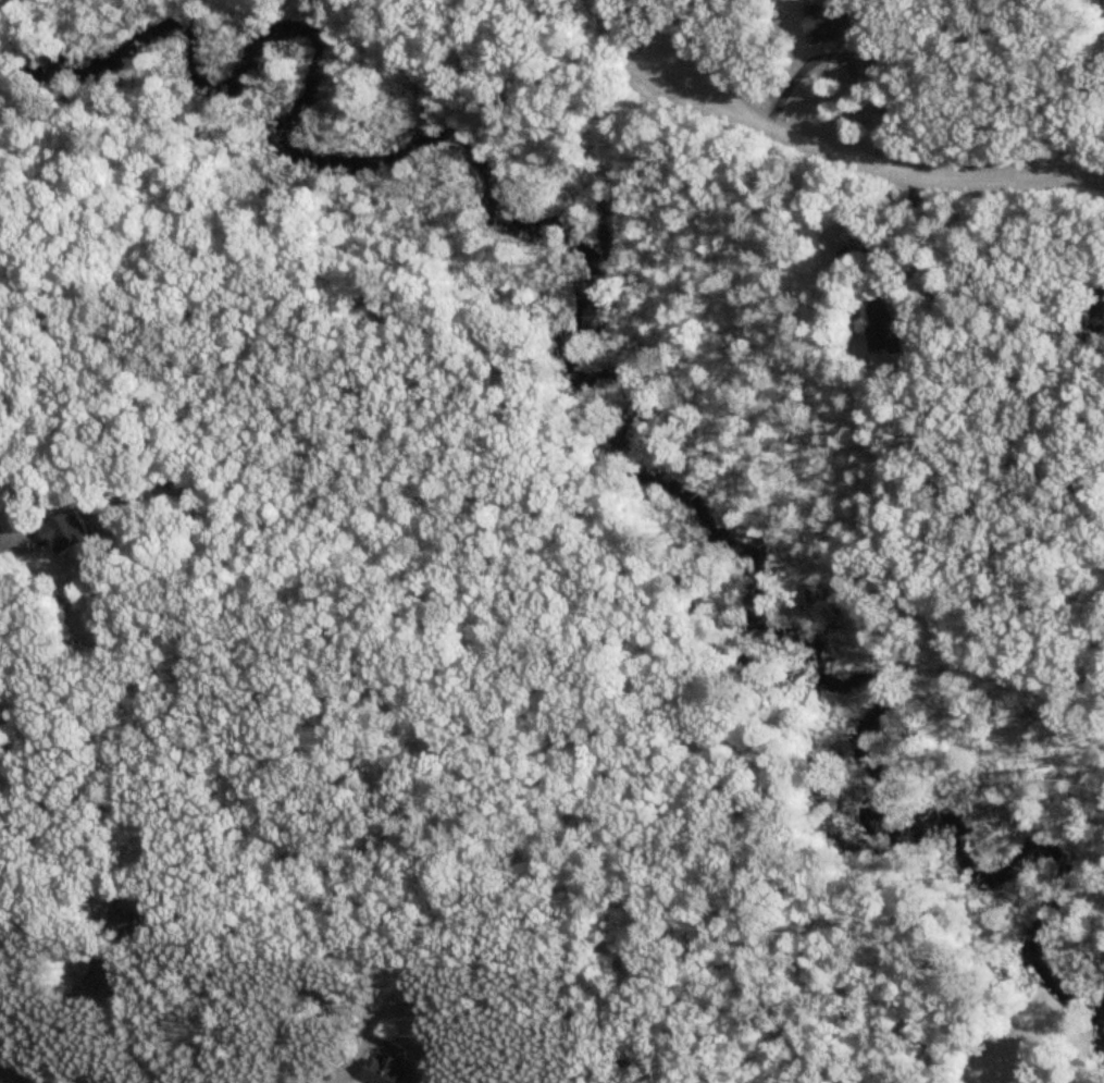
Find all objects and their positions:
road: (650, 13)
building: (831, 23)
road: (625, 36)
road: (842, 60)
road: (1062, 116)
road: (871, 163)
road: (897, 230)
building: (883, 327)
building: (7, 493)
building: (63, 532)
road: (7, 546)
building: (124, 919)
building: (92, 970)
road: (147, 1035)
building: (379, 1071)
road: (13, 1075)

